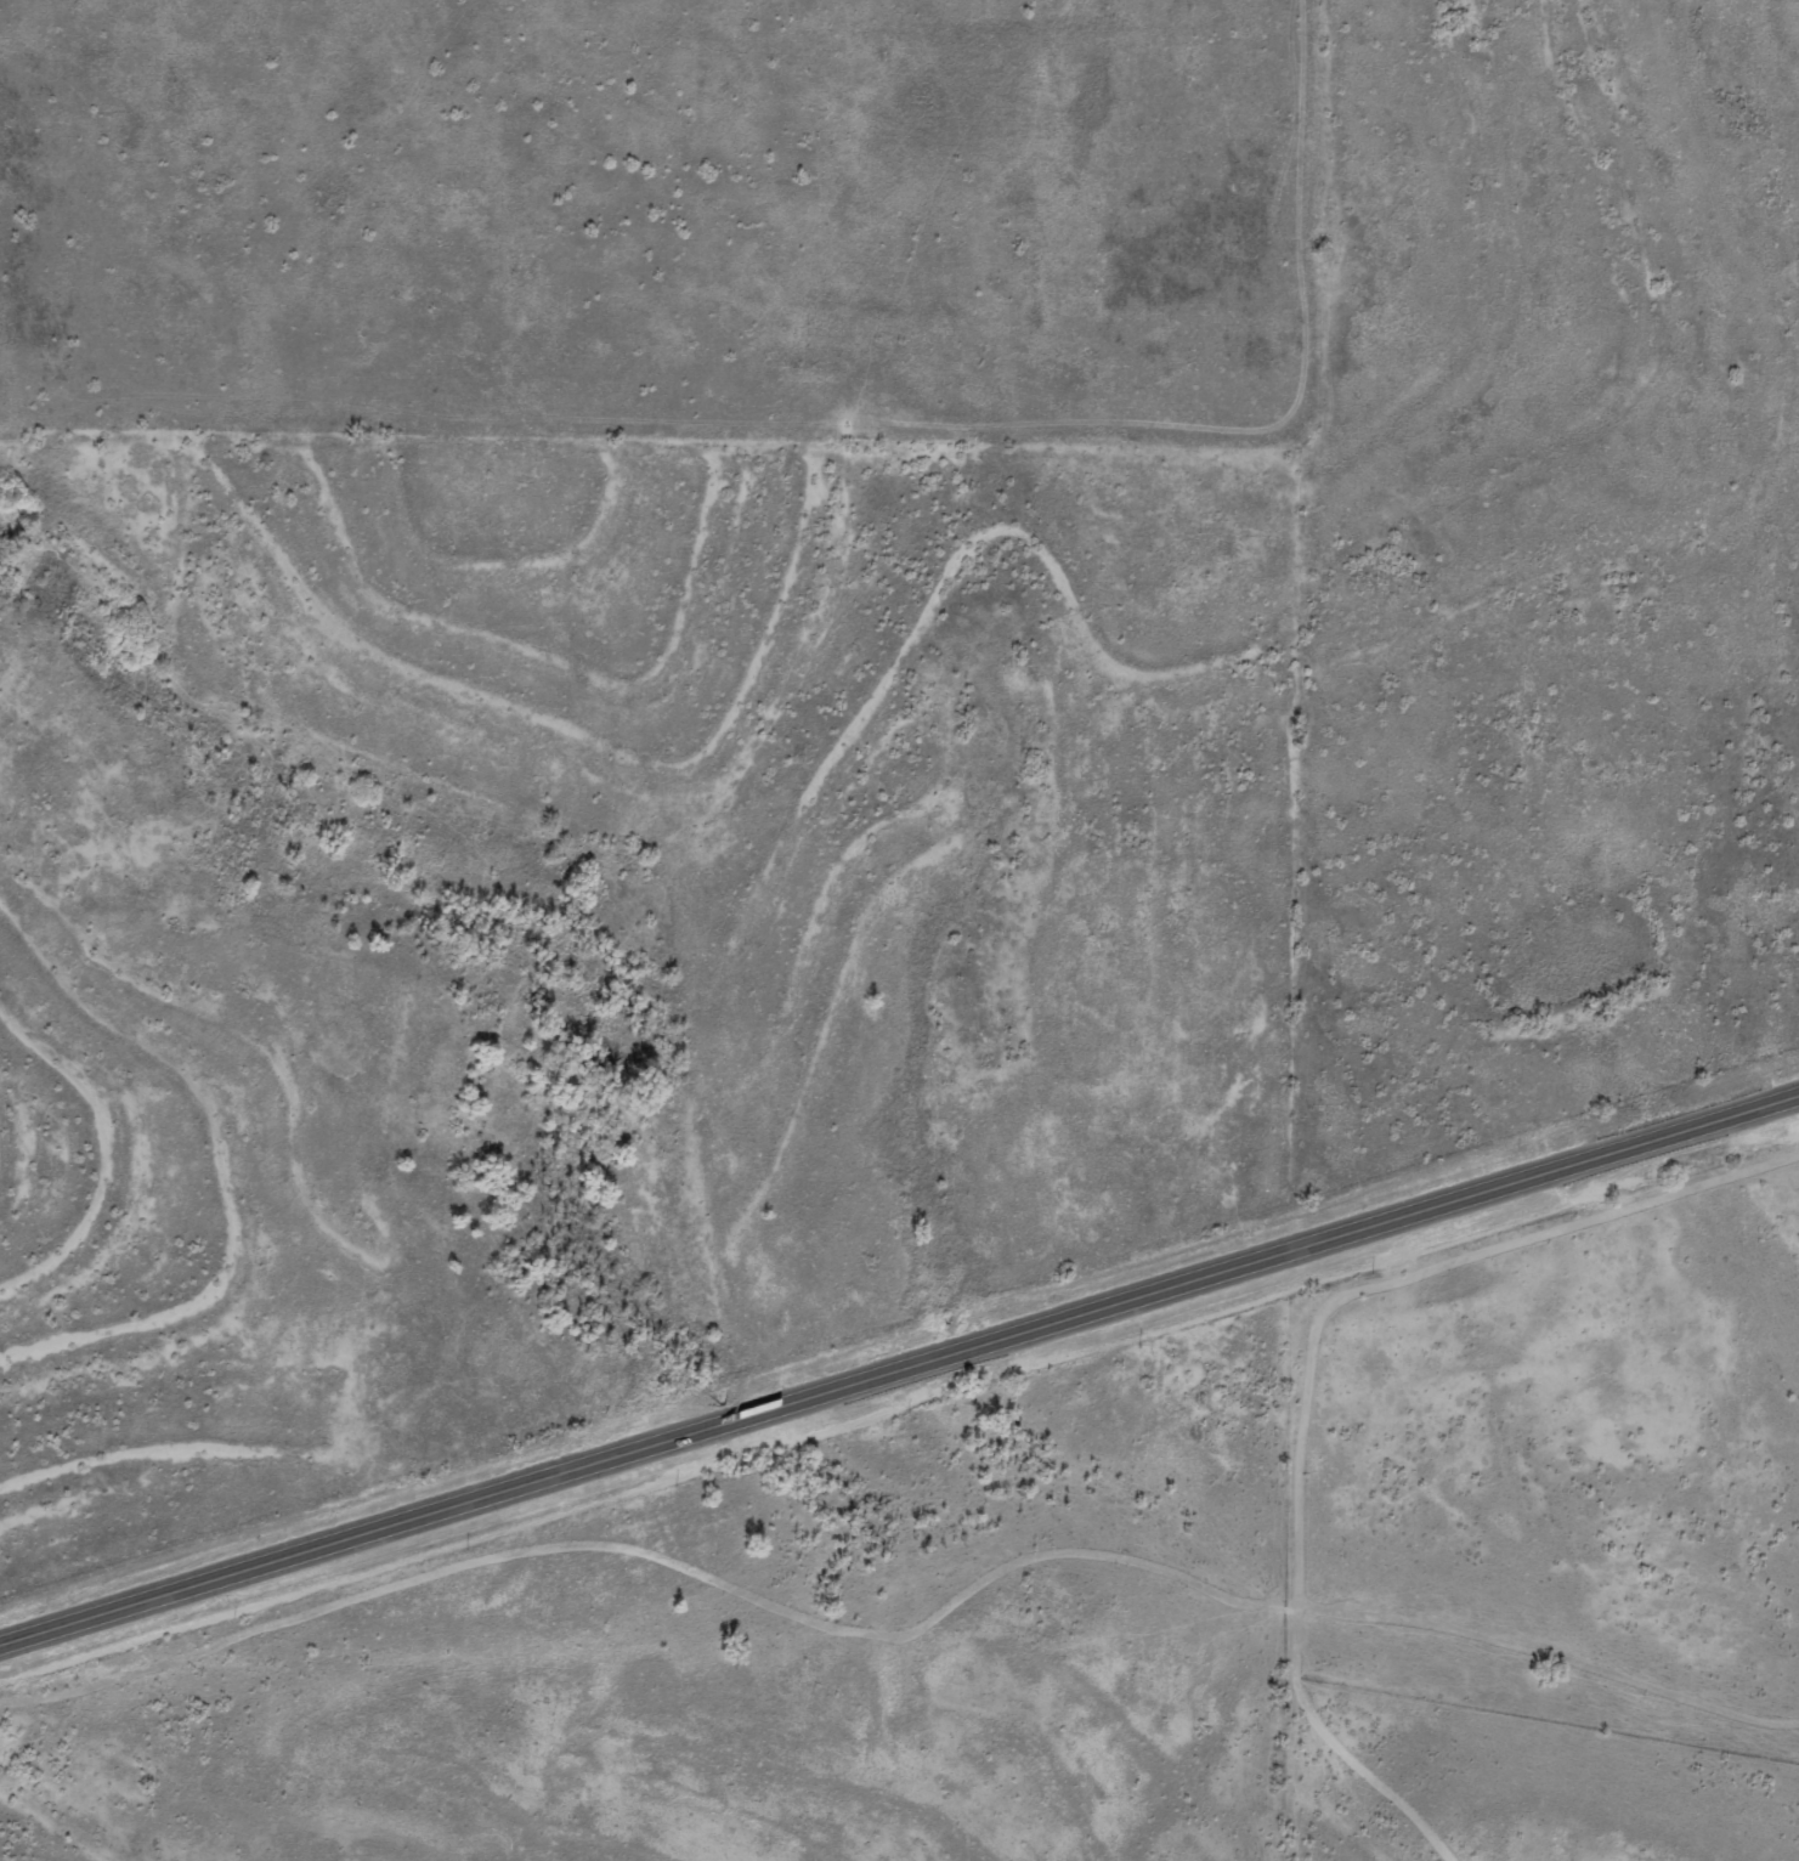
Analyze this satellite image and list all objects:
road: (899, 1363)

